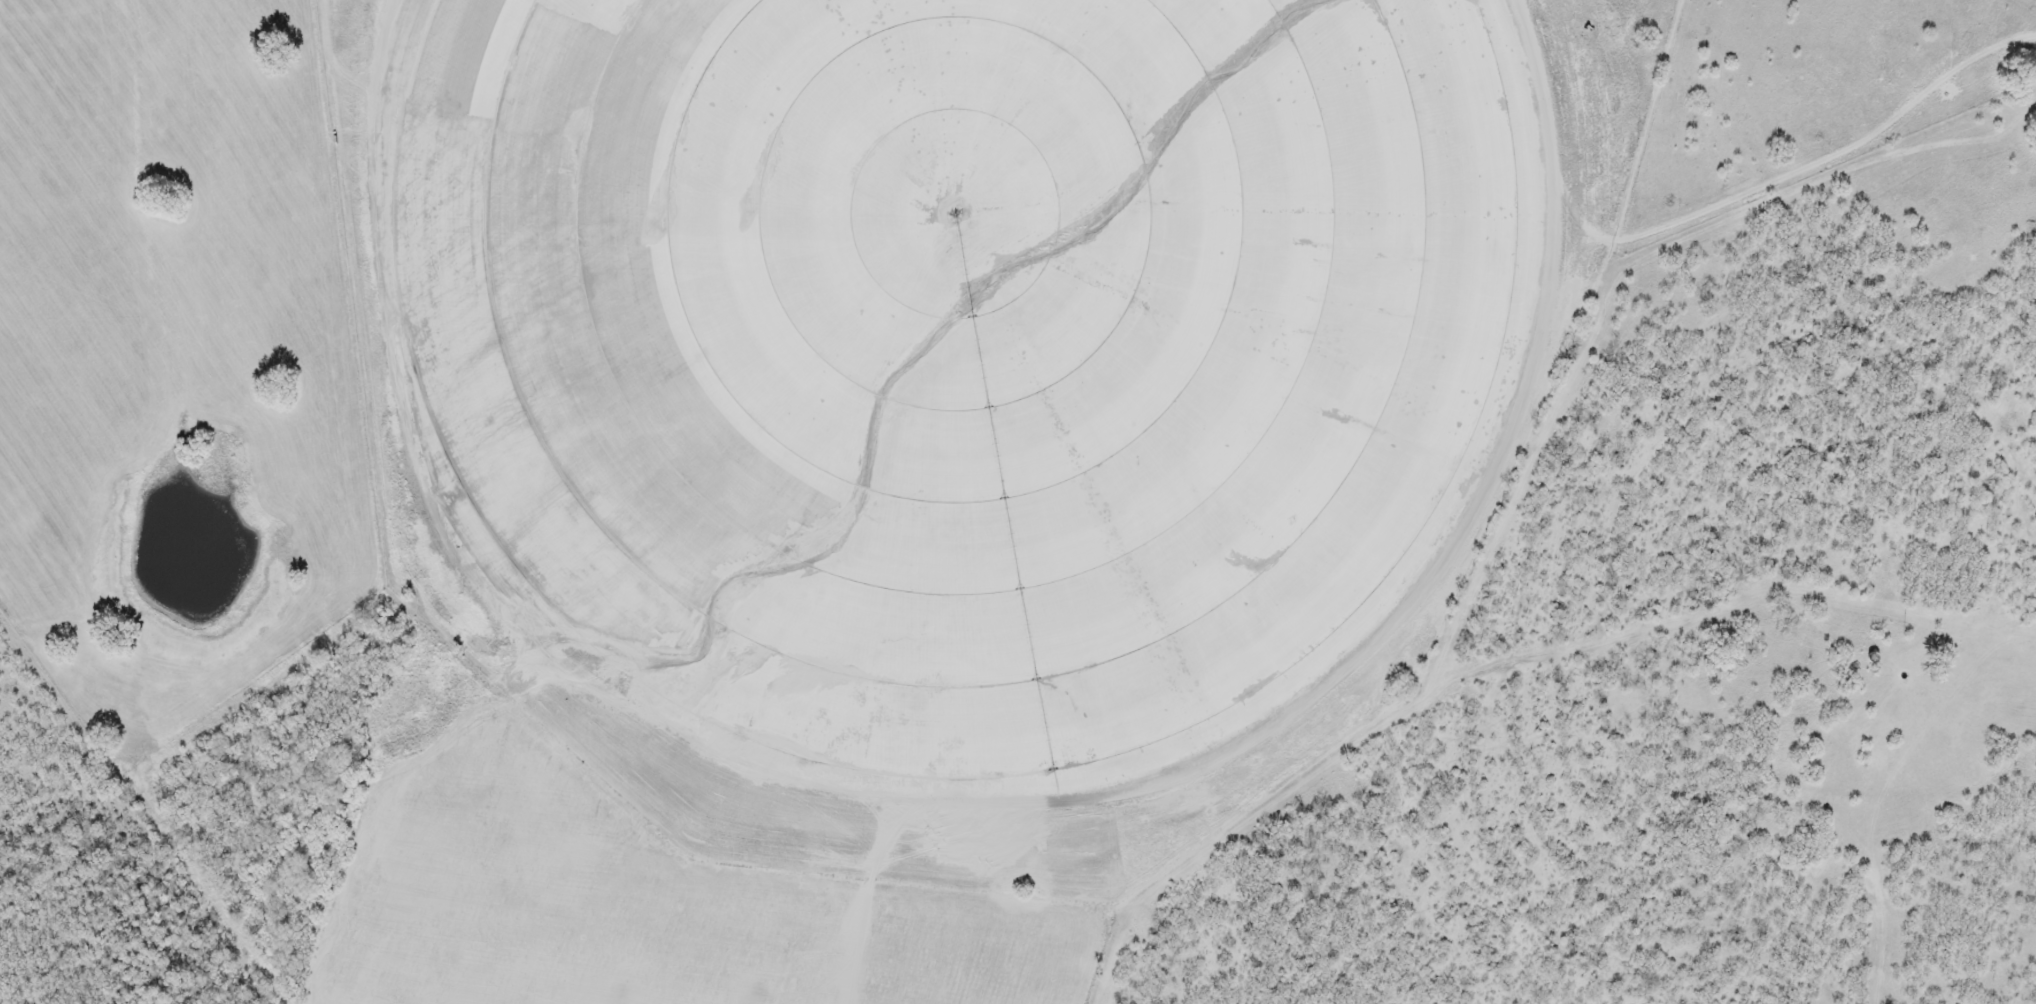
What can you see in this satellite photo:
road: (333, 27)

